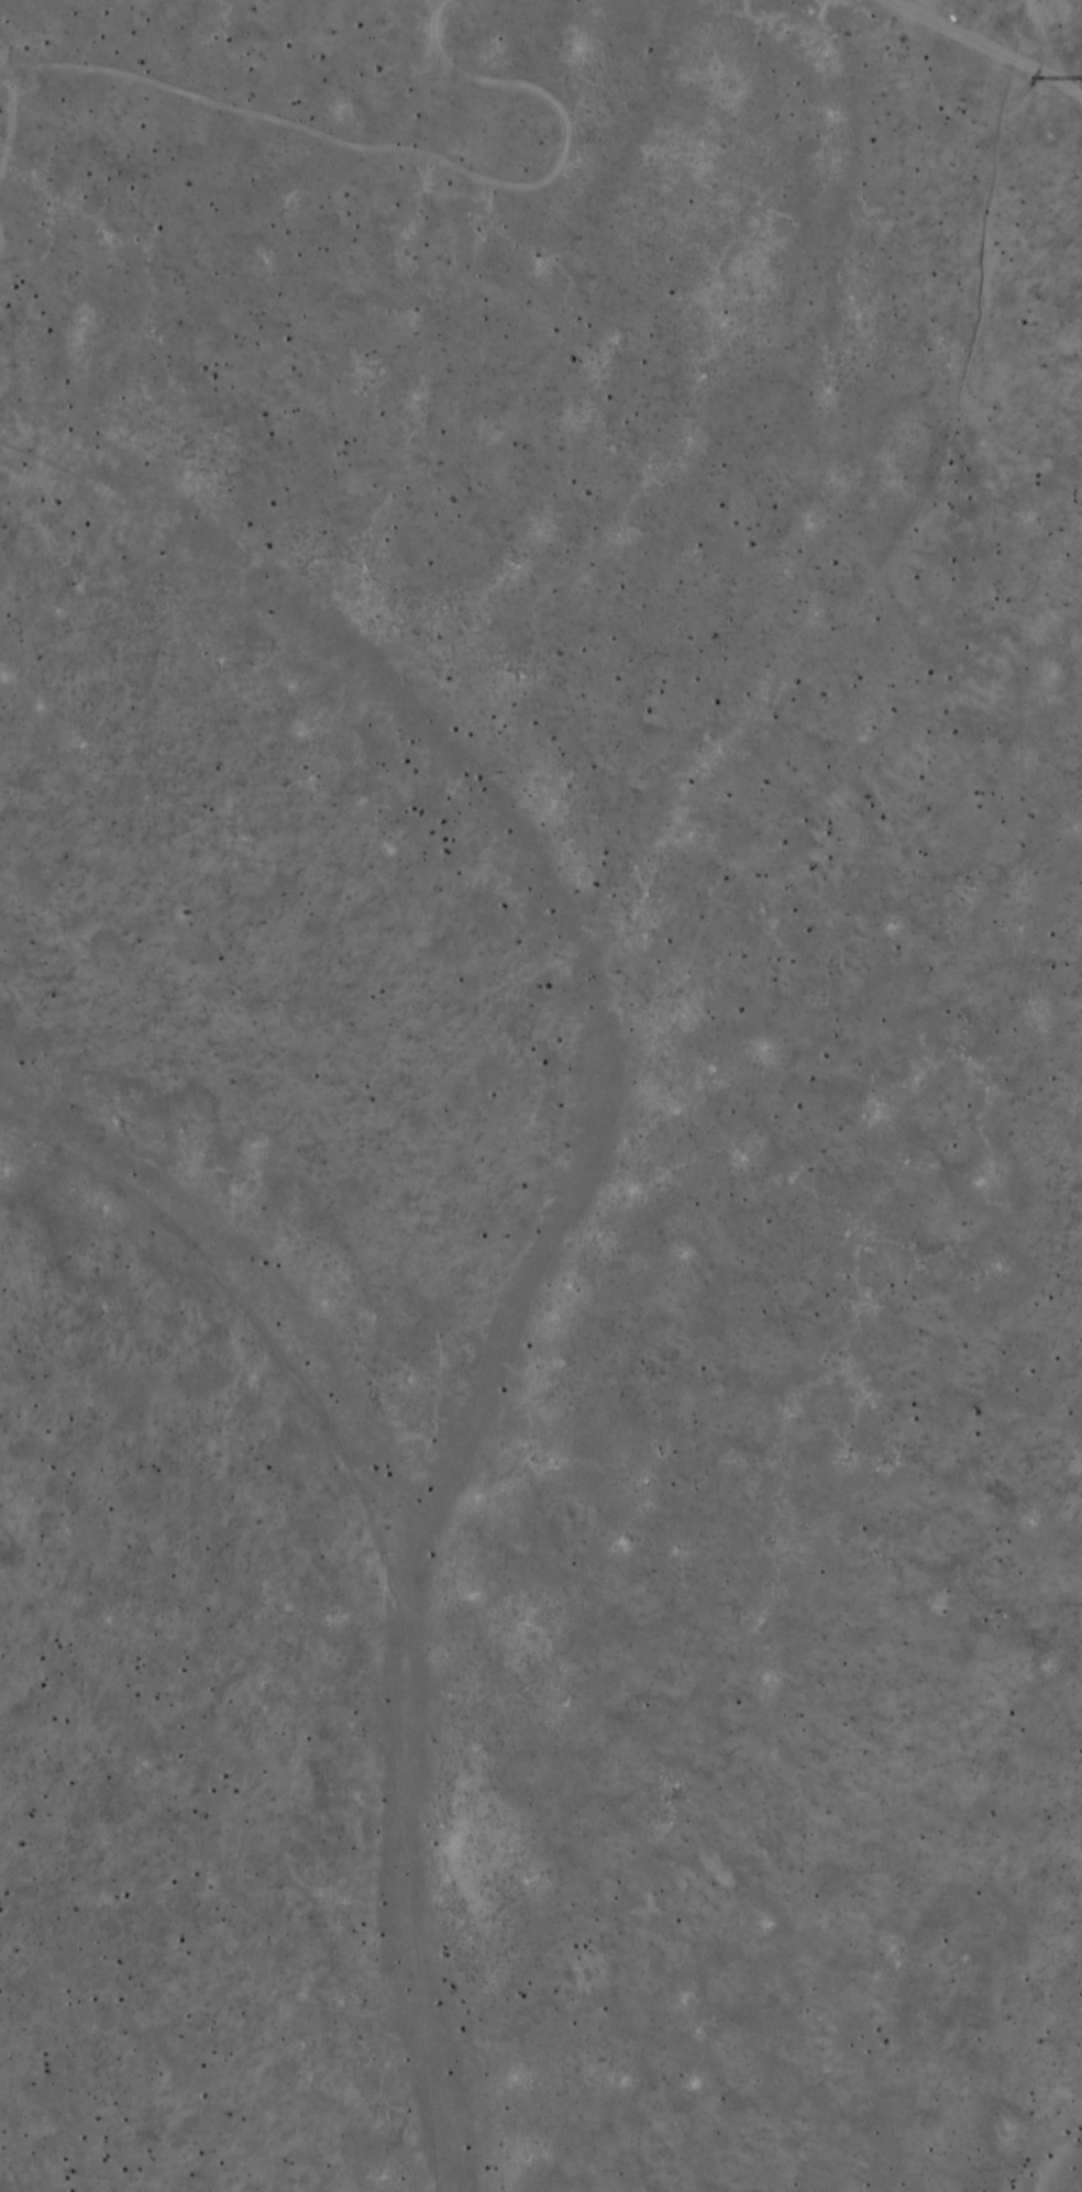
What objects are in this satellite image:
power tower: (1028, 79)

